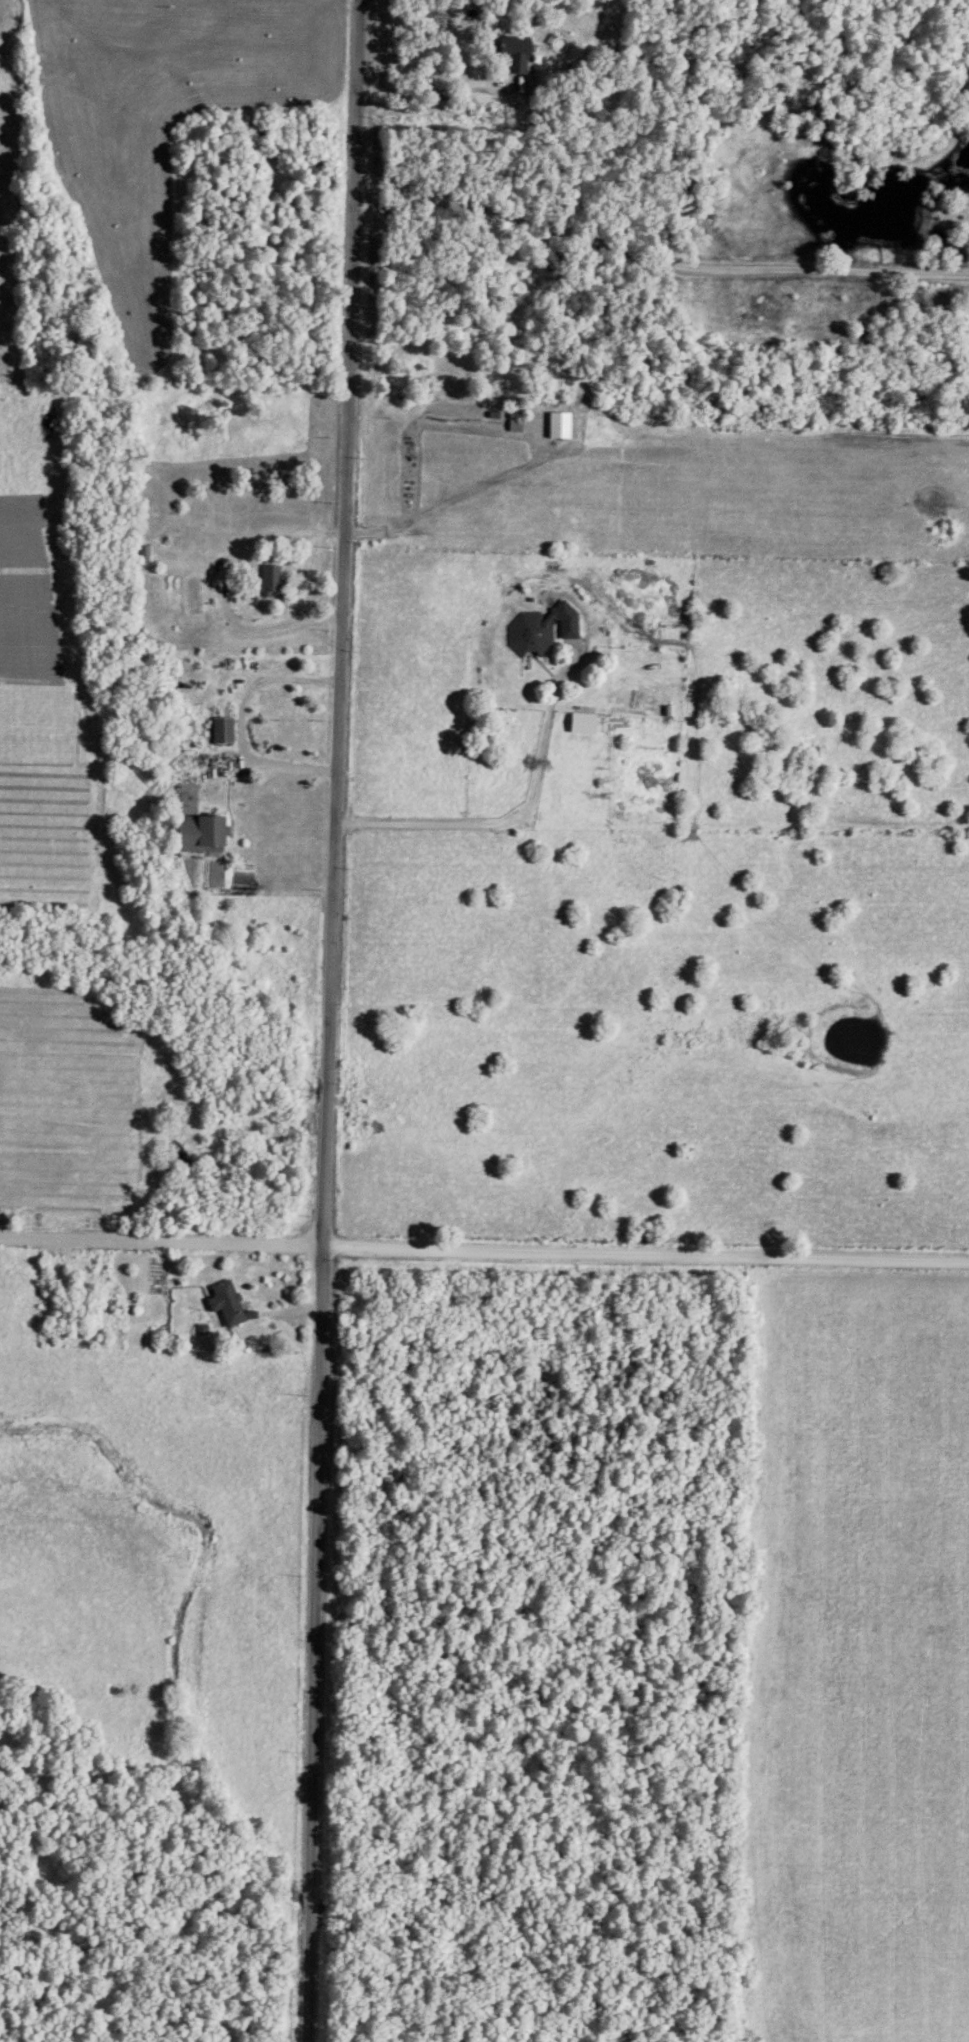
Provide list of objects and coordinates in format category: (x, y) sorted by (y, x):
building: (513, 55)
road: (435, 83)
road: (656, 266)
building: (512, 422)
building: (556, 426)
building: (268, 582)
road: (222, 583)
building: (564, 620)
building: (528, 633)
road: (242, 722)
building: (219, 731)
road: (516, 816)
building: (206, 833)
road: (331, 1021)
road: (484, 1248)
building: (224, 1304)

